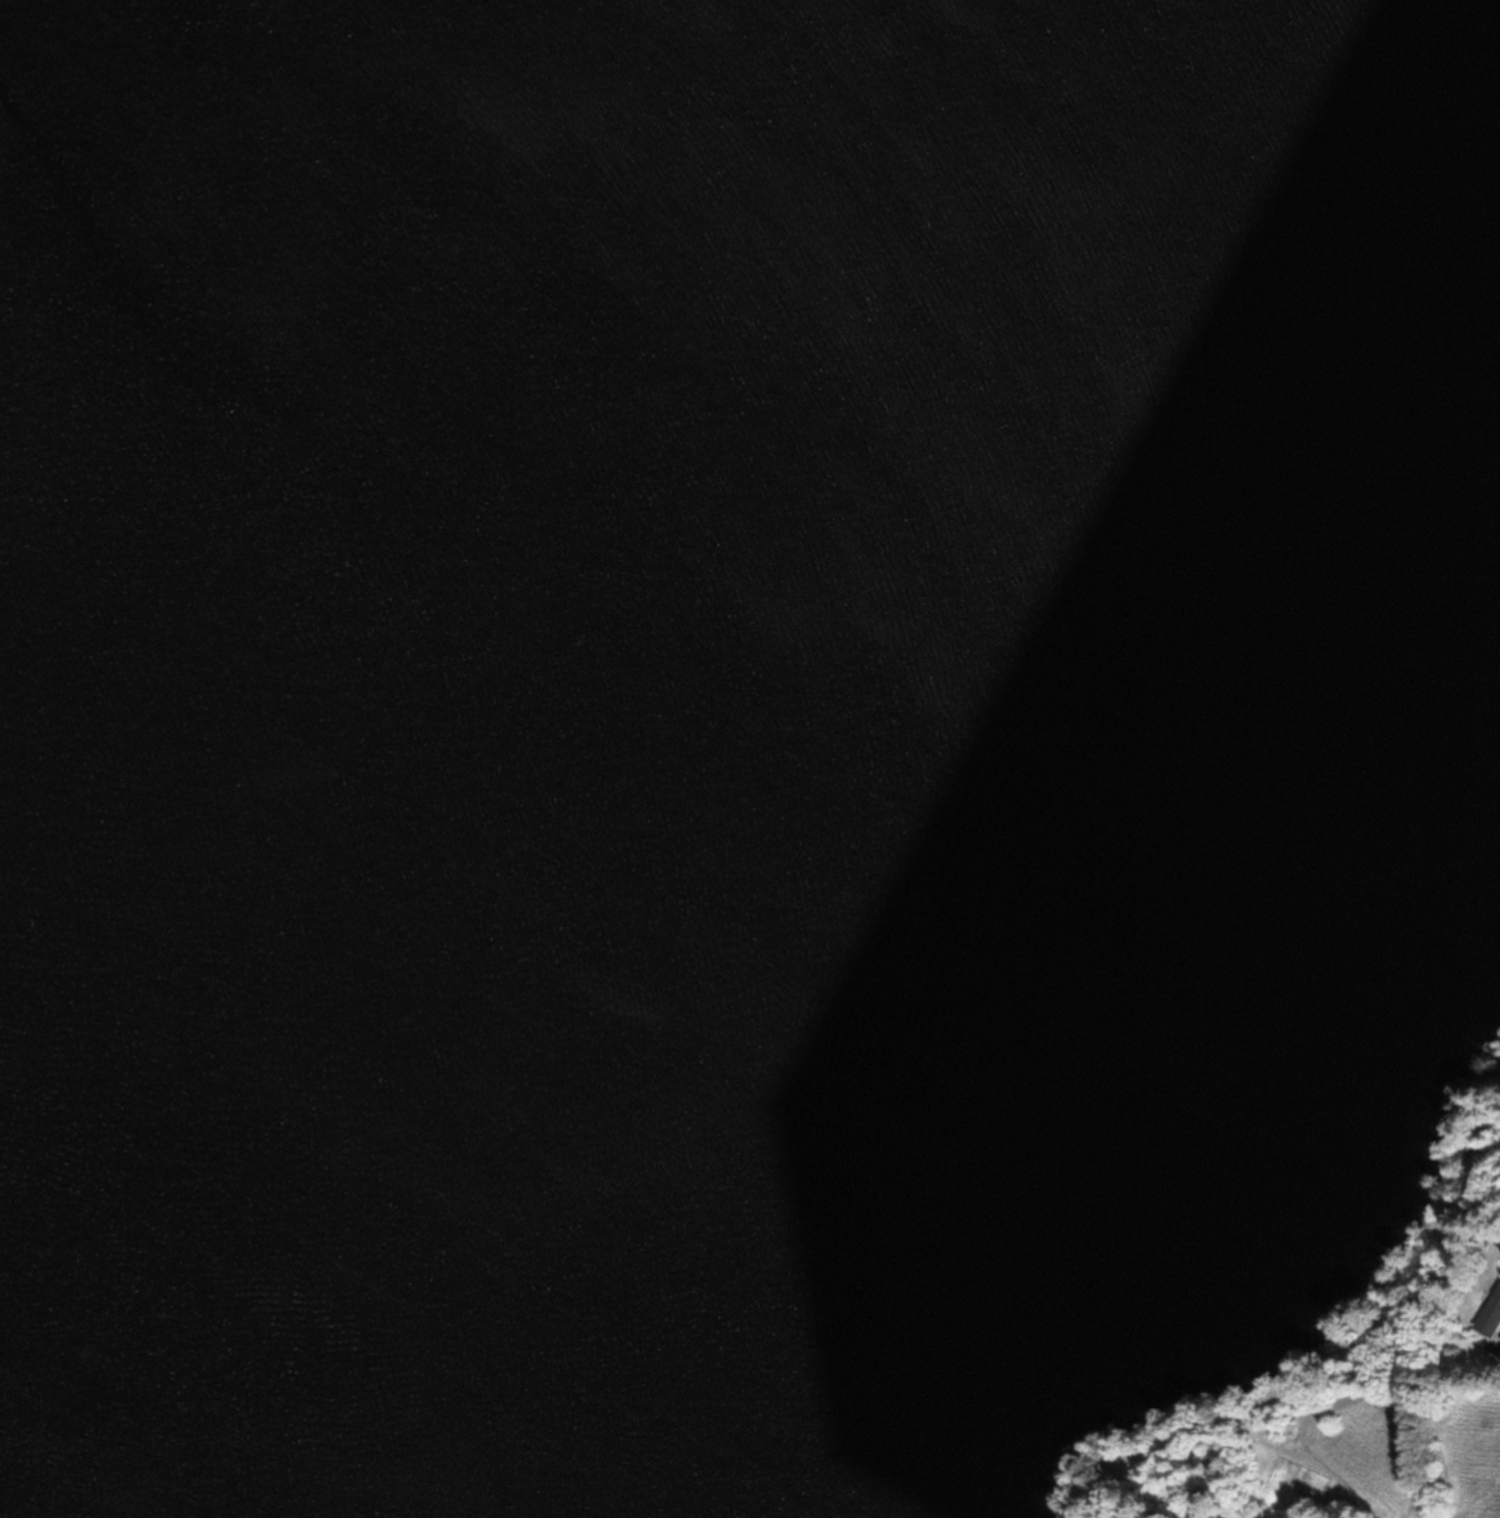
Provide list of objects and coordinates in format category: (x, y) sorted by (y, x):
building: (1490, 1312)

